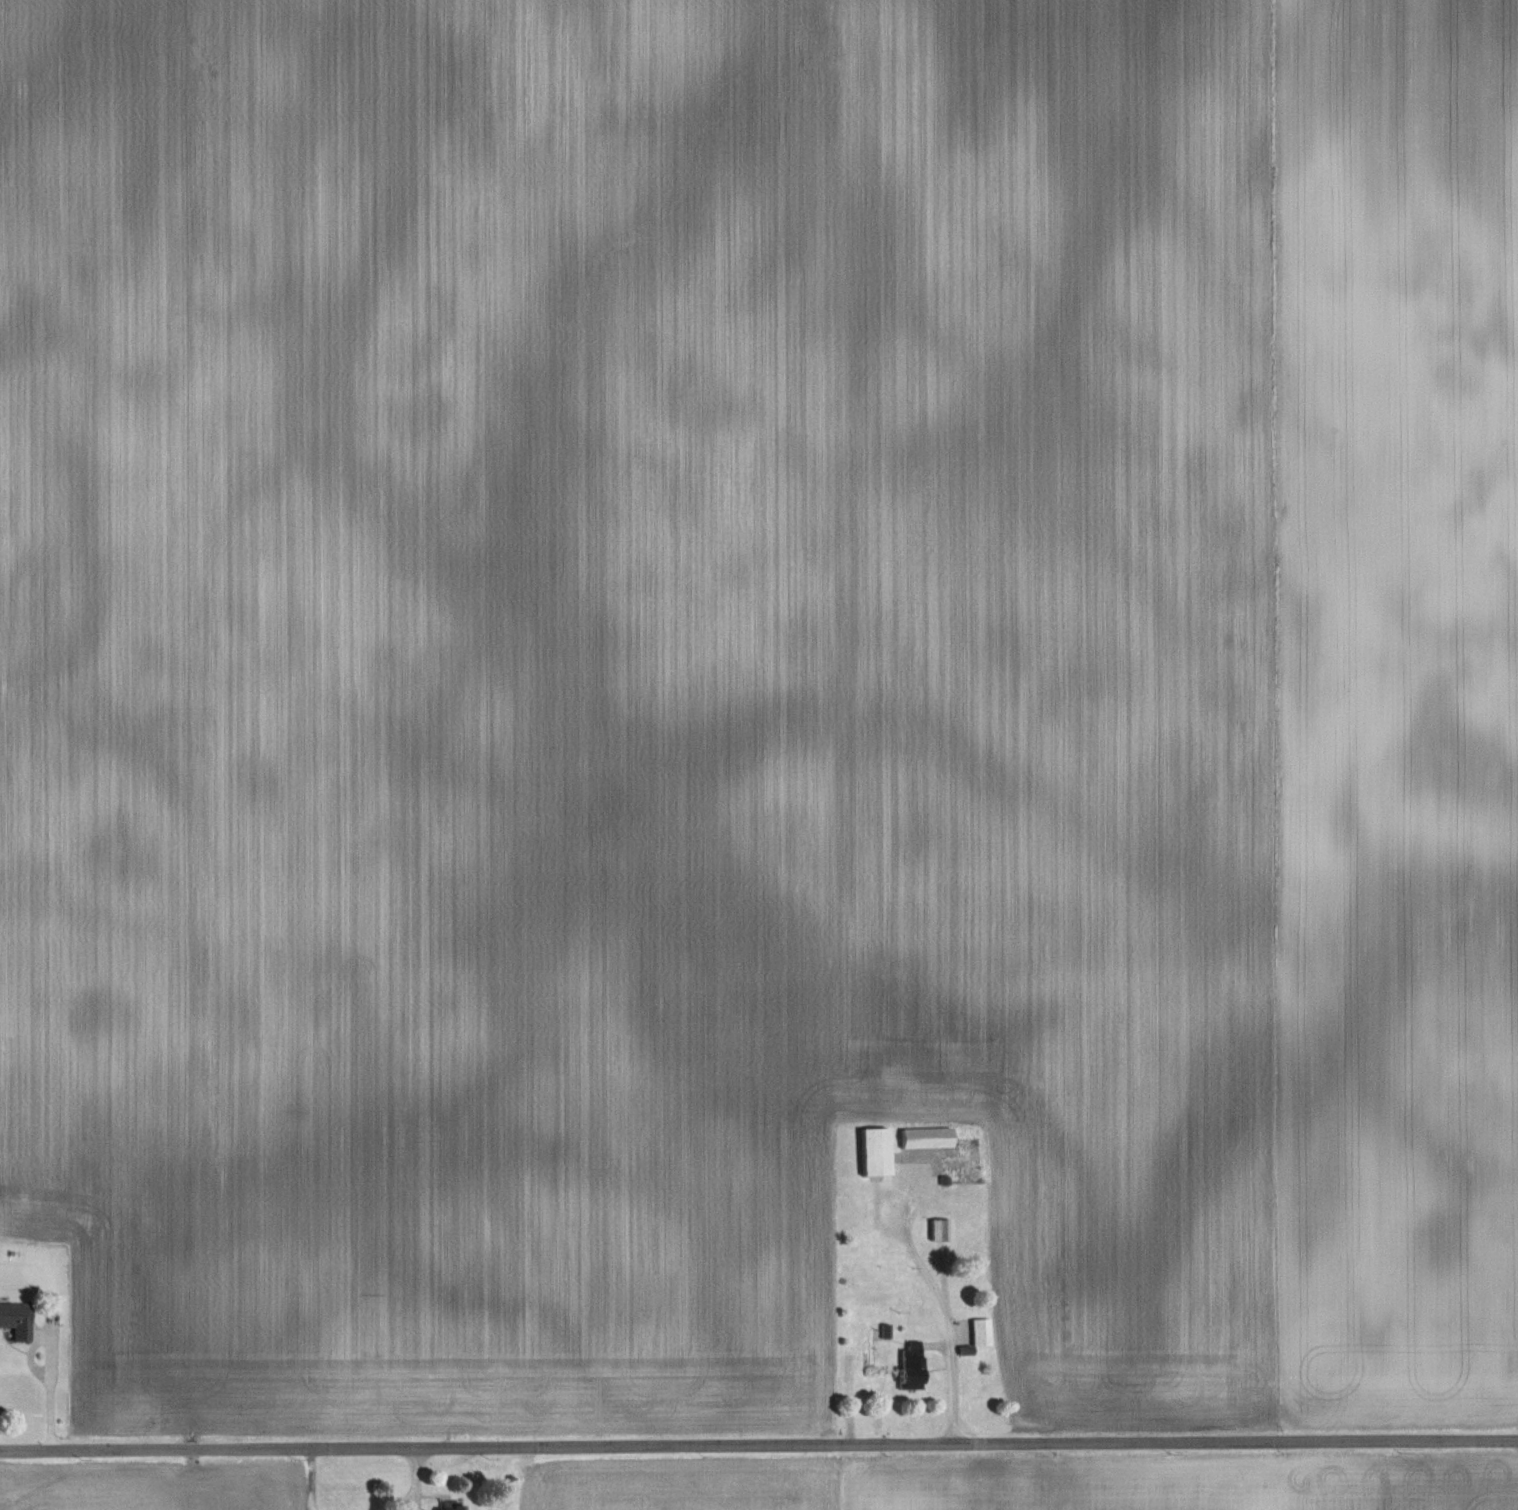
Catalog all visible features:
building: (927, 1139)
building: (876, 1153)
building: (941, 1230)
building: (16, 1320)
building: (981, 1333)
road: (52, 1363)
building: (911, 1365)
road: (953, 1392)
road: (758, 1445)
building: (451, 1507)

